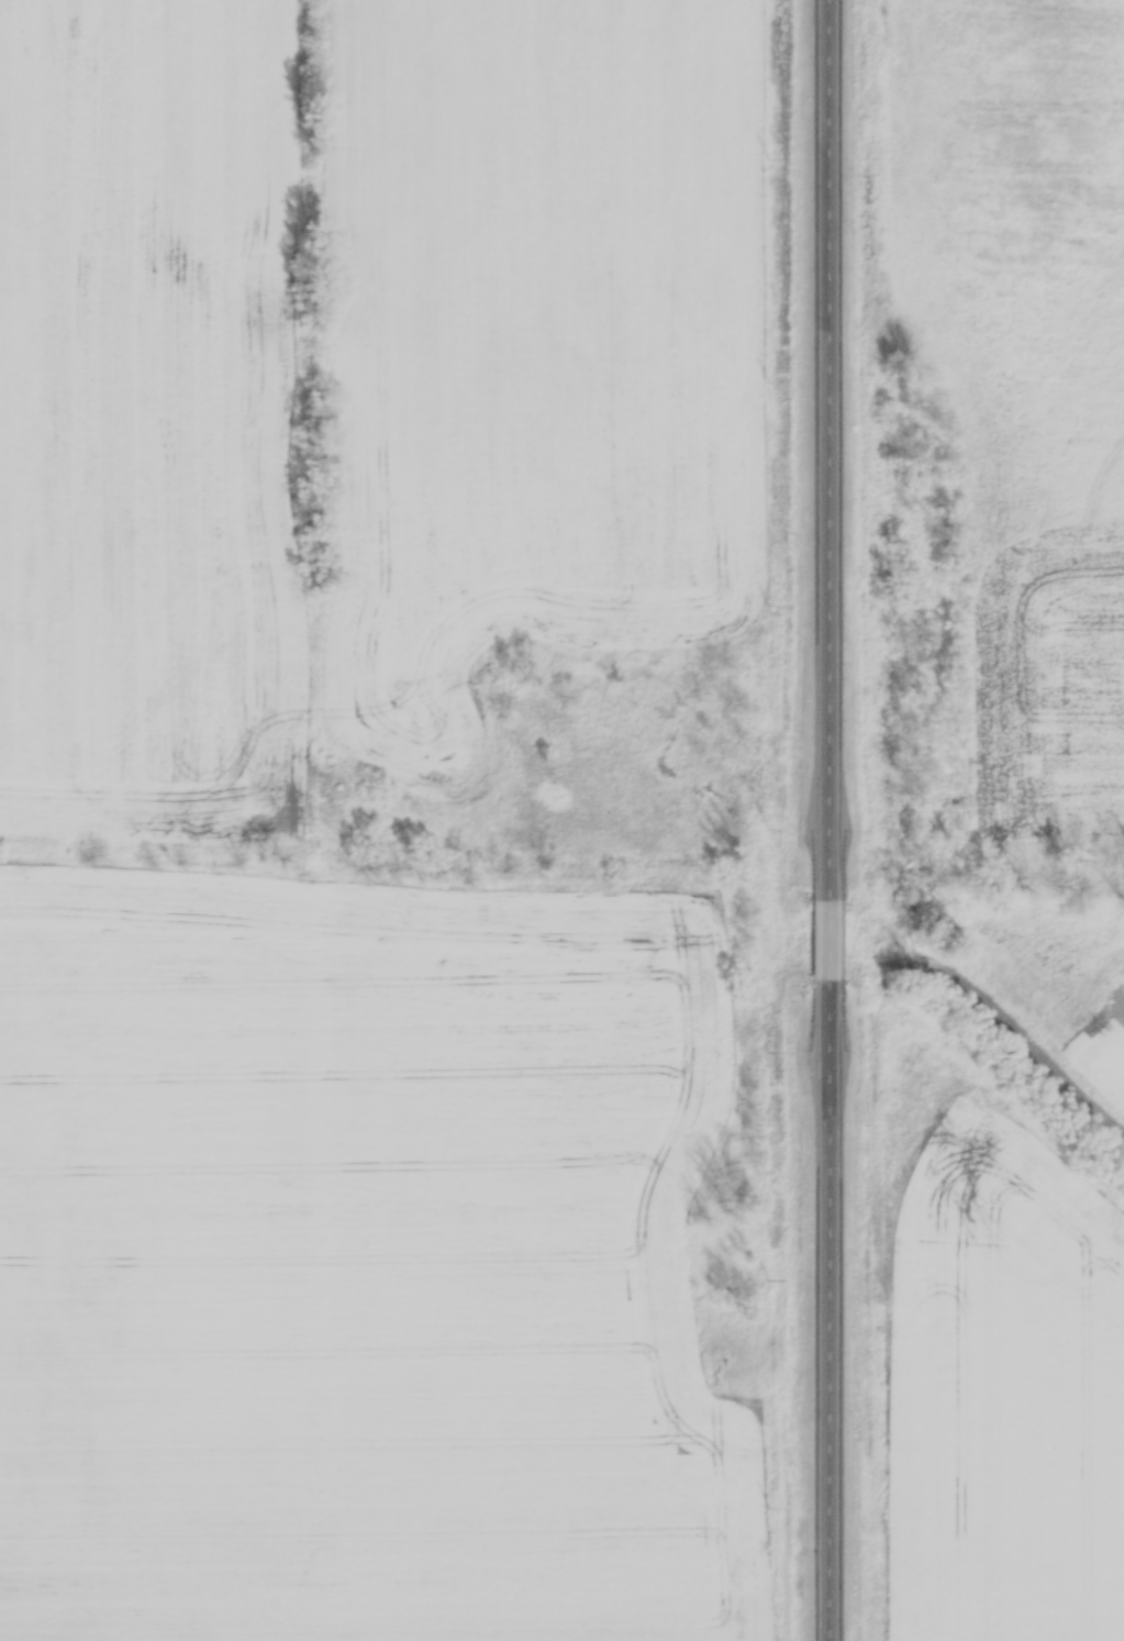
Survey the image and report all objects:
road: (826, 820)

